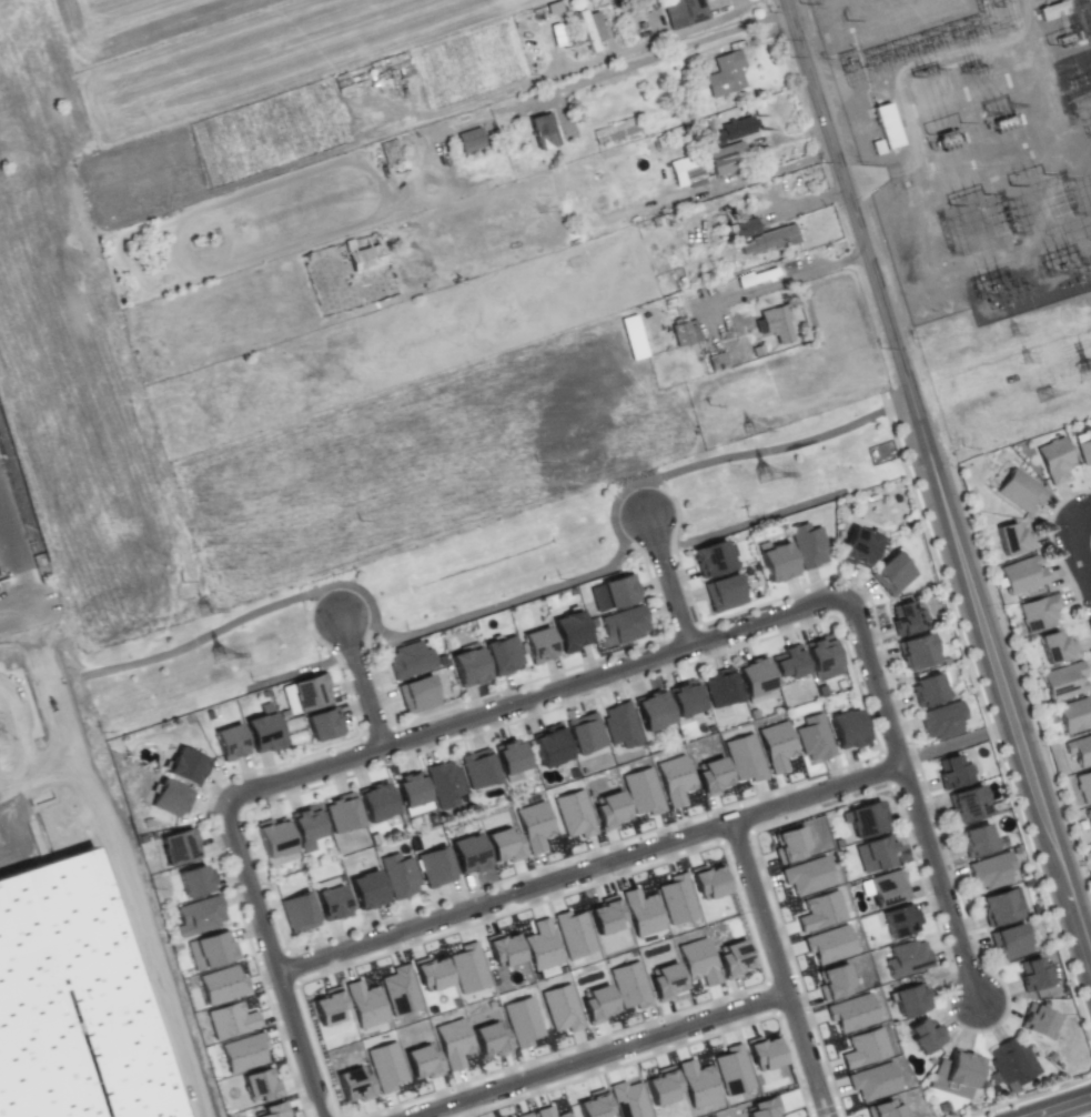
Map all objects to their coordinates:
building: (1050, 10)
building: (689, 11)
building: (589, 29)
road: (574, 64)
building: (725, 73)
building: (615, 130)
building: (731, 130)
building: (542, 131)
building: (469, 140)
building: (893, 140)
power substation: (970, 144)
building: (727, 158)
building: (686, 171)
road: (847, 190)
building: (743, 228)
building: (767, 241)
building: (365, 255)
road: (774, 281)
building: (774, 324)
power tower: (1010, 331)
building: (683, 332)
building: (632, 336)
power tower: (1020, 362)
power tower: (1082, 379)
power tower: (1047, 395)
road: (921, 424)
power tower: (746, 431)
building: (1090, 433)
building: (1084, 453)
building: (1055, 460)
power tower: (761, 480)
building: (1019, 491)
road: (1081, 519)
building: (1012, 541)
building: (808, 545)
building: (859, 546)
road: (1081, 552)
building: (714, 558)
building: (778, 562)
road: (17, 574)
building: (890, 575)
building: (1022, 576)
road: (664, 578)
building: (620, 591)
building: (726, 594)
building: (1040, 613)
power tower: (196, 615)
road: (12, 616)
building: (905, 621)
building: (625, 625)
building: (572, 631)
building: (539, 645)
building: (1055, 650)
building: (916, 653)
building: (503, 654)
building: (820, 655)
building: (410, 660)
power tower: (213, 664)
building: (787, 665)
building: (469, 667)
building: (752, 680)
road: (360, 682)
building: (1064, 682)
building: (927, 691)
building: (311, 692)
building: (718, 692)
building: (418, 694)
road: (523, 696)
building: (683, 701)
building: (650, 713)
road: (1012, 713)
building: (1074, 715)
building: (941, 722)
building: (323, 725)
building: (618, 726)
building: (263, 731)
building: (848, 731)
building: (583, 736)
building: (814, 738)
building: (231, 742)
building: (775, 745)
building: (546, 751)
building: (1080, 751)
building: (744, 757)
building: (507, 759)
building: (185, 765)
building: (477, 767)
building: (953, 772)
building: (710, 775)
building: (673, 779)
building: (444, 784)
building: (1084, 787)
building: (412, 788)
building: (642, 792)
building: (170, 797)
road: (905, 797)
building: (376, 803)
building: (967, 806)
building: (608, 809)
building: (343, 814)
building: (573, 814)
building: (1089, 816)
building: (866, 822)
building: (533, 825)
building: (306, 829)
building: (275, 839)
building: (977, 841)
building: (788, 843)
building: (503, 845)
building: (178, 847)
building: (467, 855)
building: (878, 855)
building: (434, 867)
road: (584, 868)
building: (991, 869)
building: (398, 875)
building: (805, 875)
building: (195, 882)
building: (706, 882)
building: (366, 889)
building: (888, 889)
building: (675, 899)
building: (332, 902)
building: (998, 909)
building: (819, 910)
building: (297, 913)
building: (640, 913)
building: (201, 915)
building: (604, 915)
building: (897, 924)
building: (573, 934)
building: (1011, 940)
building: (828, 944)
building: (539, 945)
building: (503, 948)
building: (211, 952)
building: (731, 958)
building: (907, 960)
road: (270, 962)
building: (696, 962)
building: (467, 968)
road: (778, 968)
building: (430, 973)
building: (1034, 976)
building: (664, 982)
building: (831, 982)
building: (221, 984)
building: (628, 985)
building: (398, 990)
building: (68, 1002)
building: (909, 1003)
building: (363, 1004)
building: (595, 1004)
building: (327, 1006)
building: (559, 1008)
building: (850, 1012)
building: (230, 1020)
building: (521, 1022)
building: (1037, 1025)
building: (925, 1036)
building: (489, 1039)
building: (452, 1043)
building: (863, 1048)
building: (243, 1051)
building: (761, 1051)
road: (599, 1056)
building: (1010, 1061)
building: (421, 1063)
building: (385, 1066)
building: (731, 1070)
building: (953, 1074)
building: (872, 1080)
building: (353, 1084)
building: (696, 1084)
building: (257, 1085)
building: (660, 1086)
building: (627, 1099)
building: (592, 1105)
road: (1055, 1107)
building: (760, 1108)
building: (883, 1109)
building: (269, 1110)
building: (547, 1113)
building: (524, 1115)

